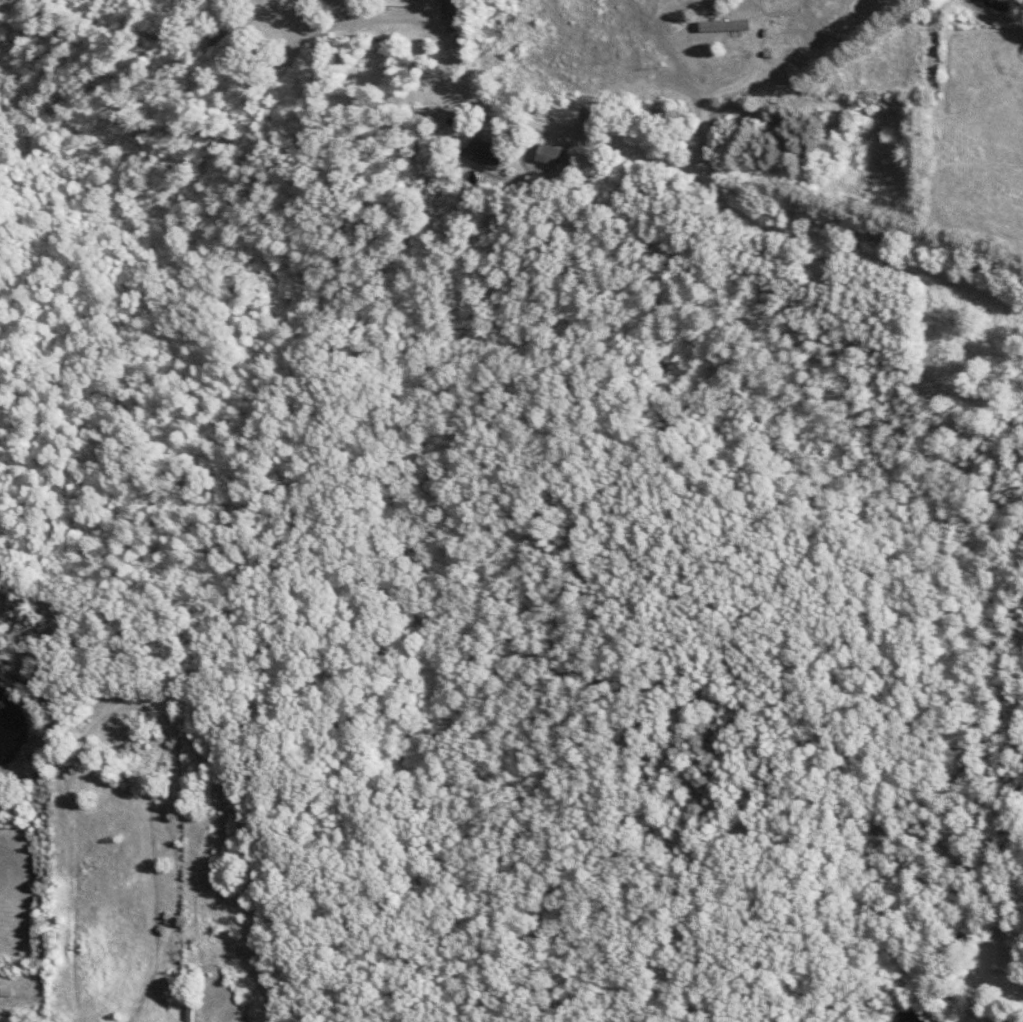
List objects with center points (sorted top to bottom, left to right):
road: (977, 9)
building: (456, 10)
road: (364, 22)
road: (483, 22)
building: (730, 26)
road: (597, 42)
road: (297, 47)
road: (549, 70)
road: (699, 86)
road: (893, 92)
building: (486, 149)
building: (553, 155)
road: (731, 188)
building: (192, 1015)
building: (1013, 1021)

